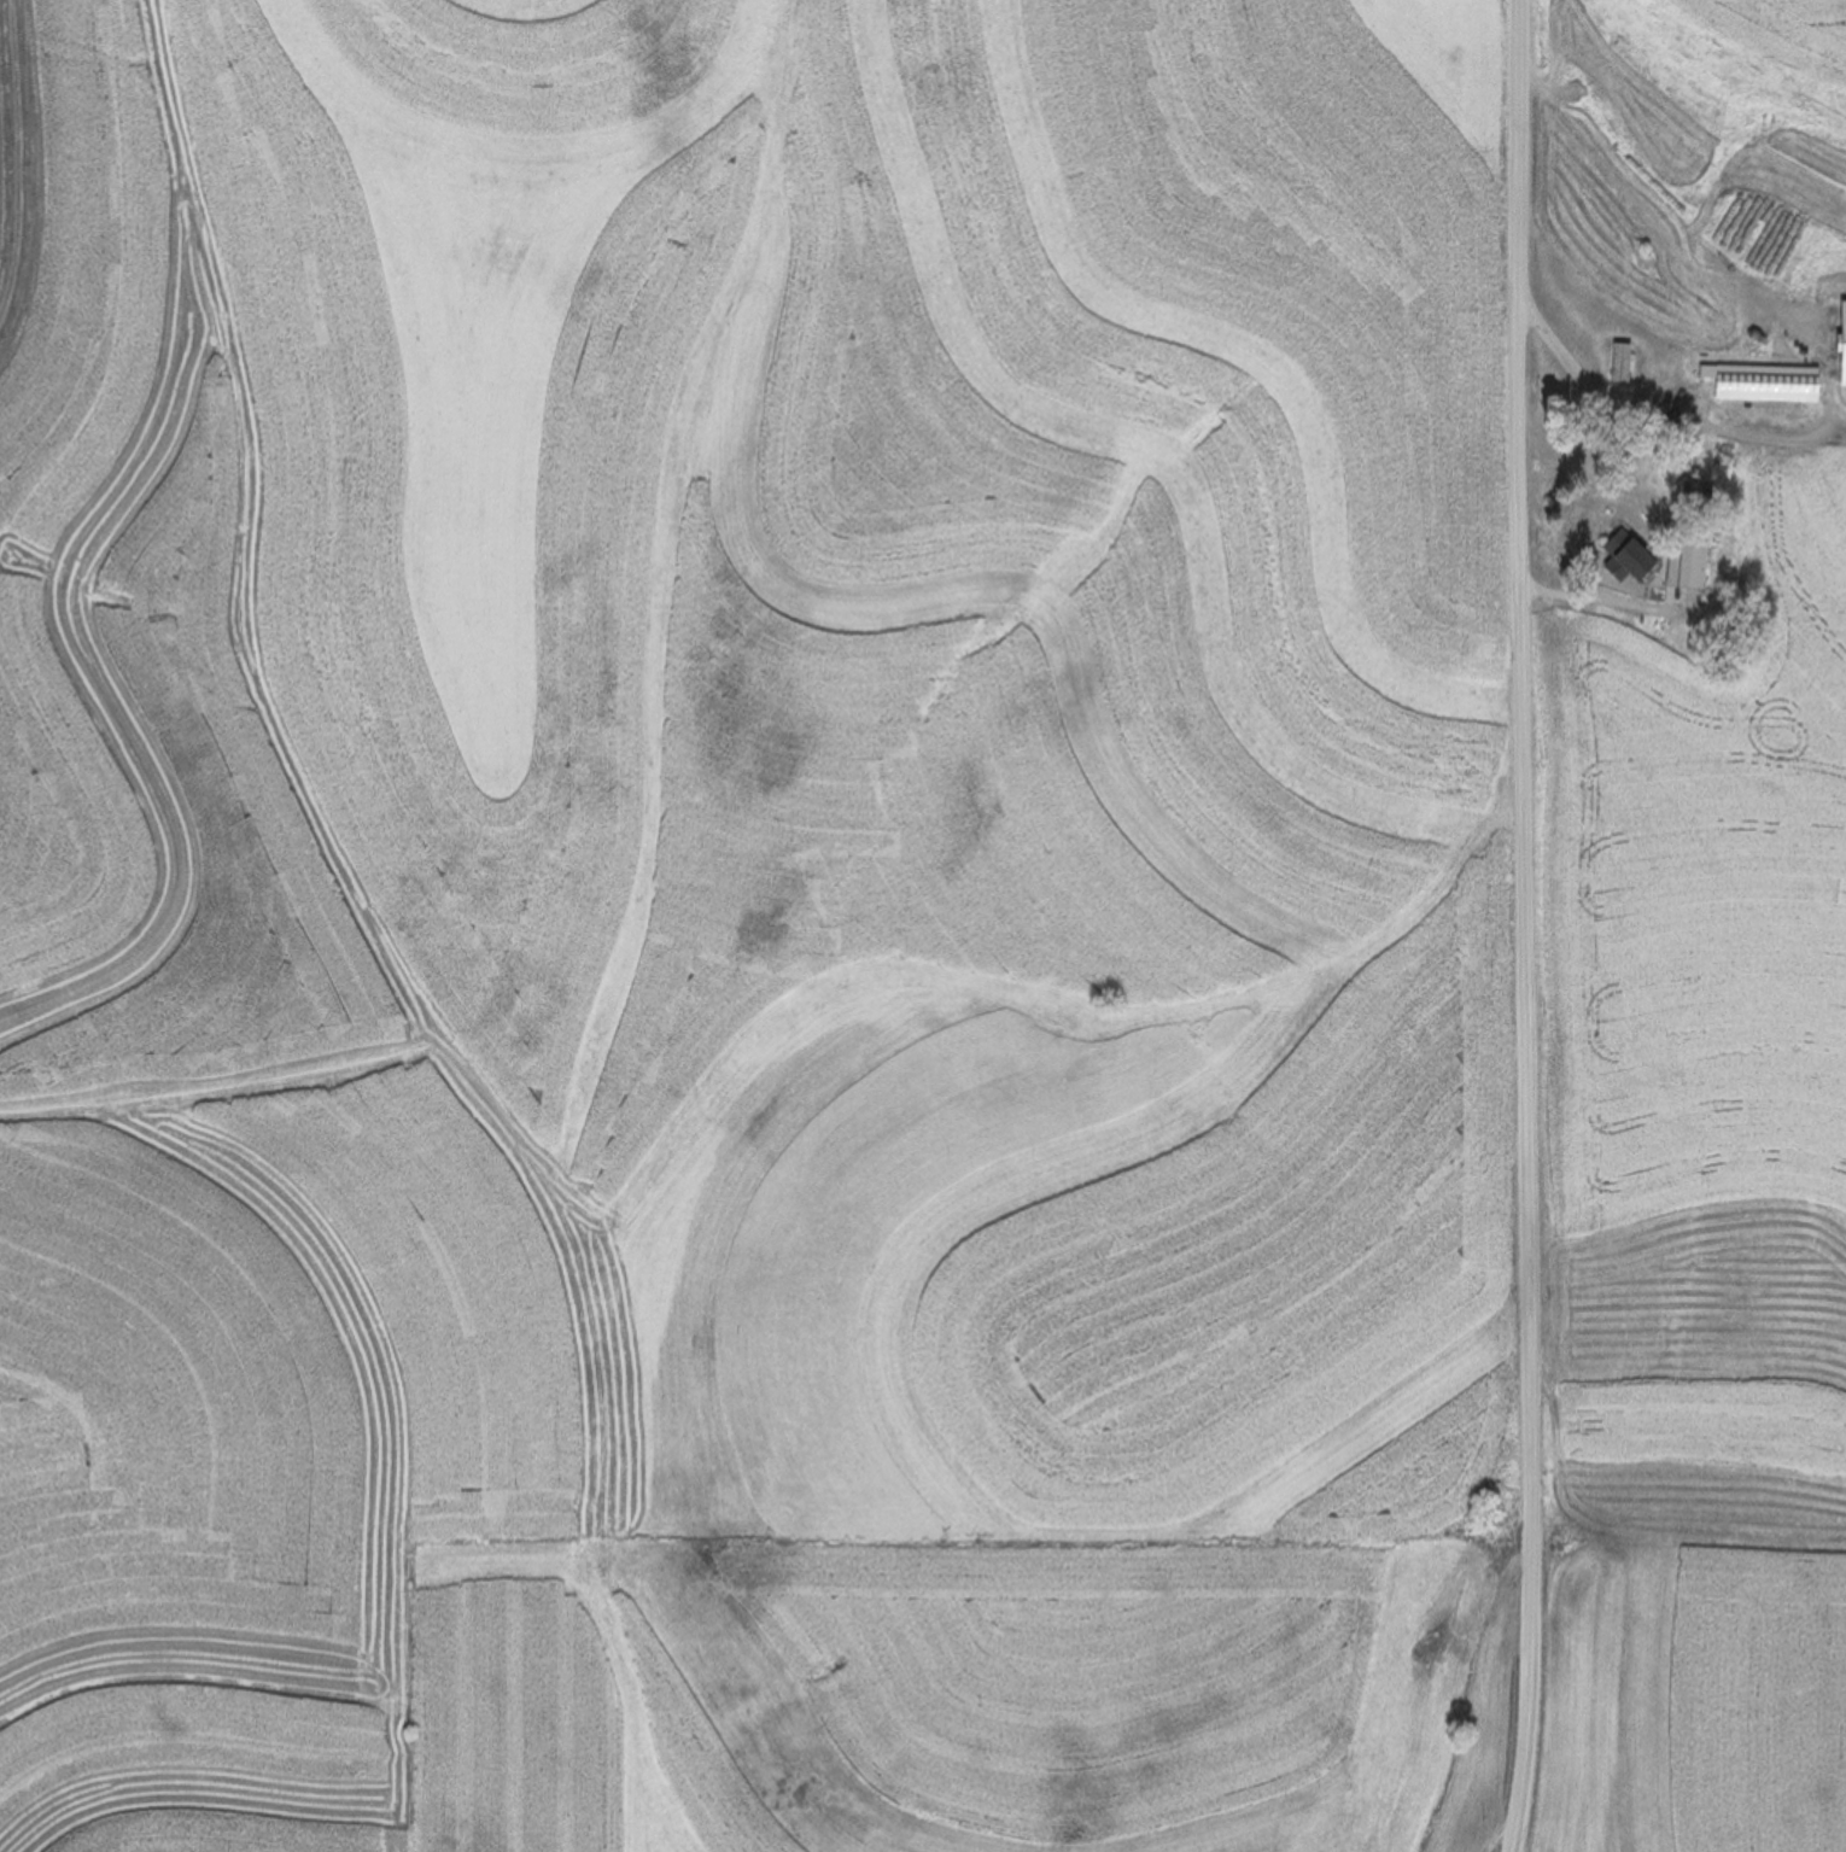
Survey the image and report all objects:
building: (1618, 361)
road: (1822, 362)
building: (1757, 380)
building: (1619, 555)
building: (1683, 562)
road: (1517, 925)

